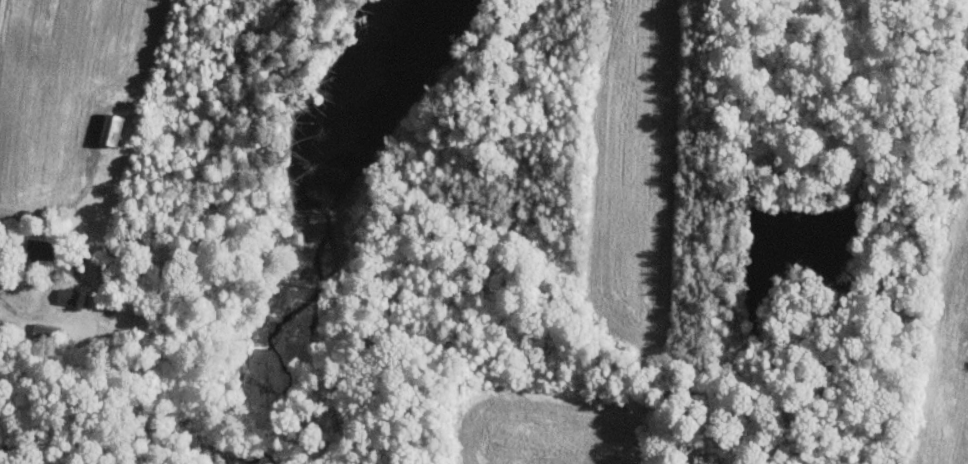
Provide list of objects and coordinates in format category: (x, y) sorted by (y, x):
building: (111, 129)

